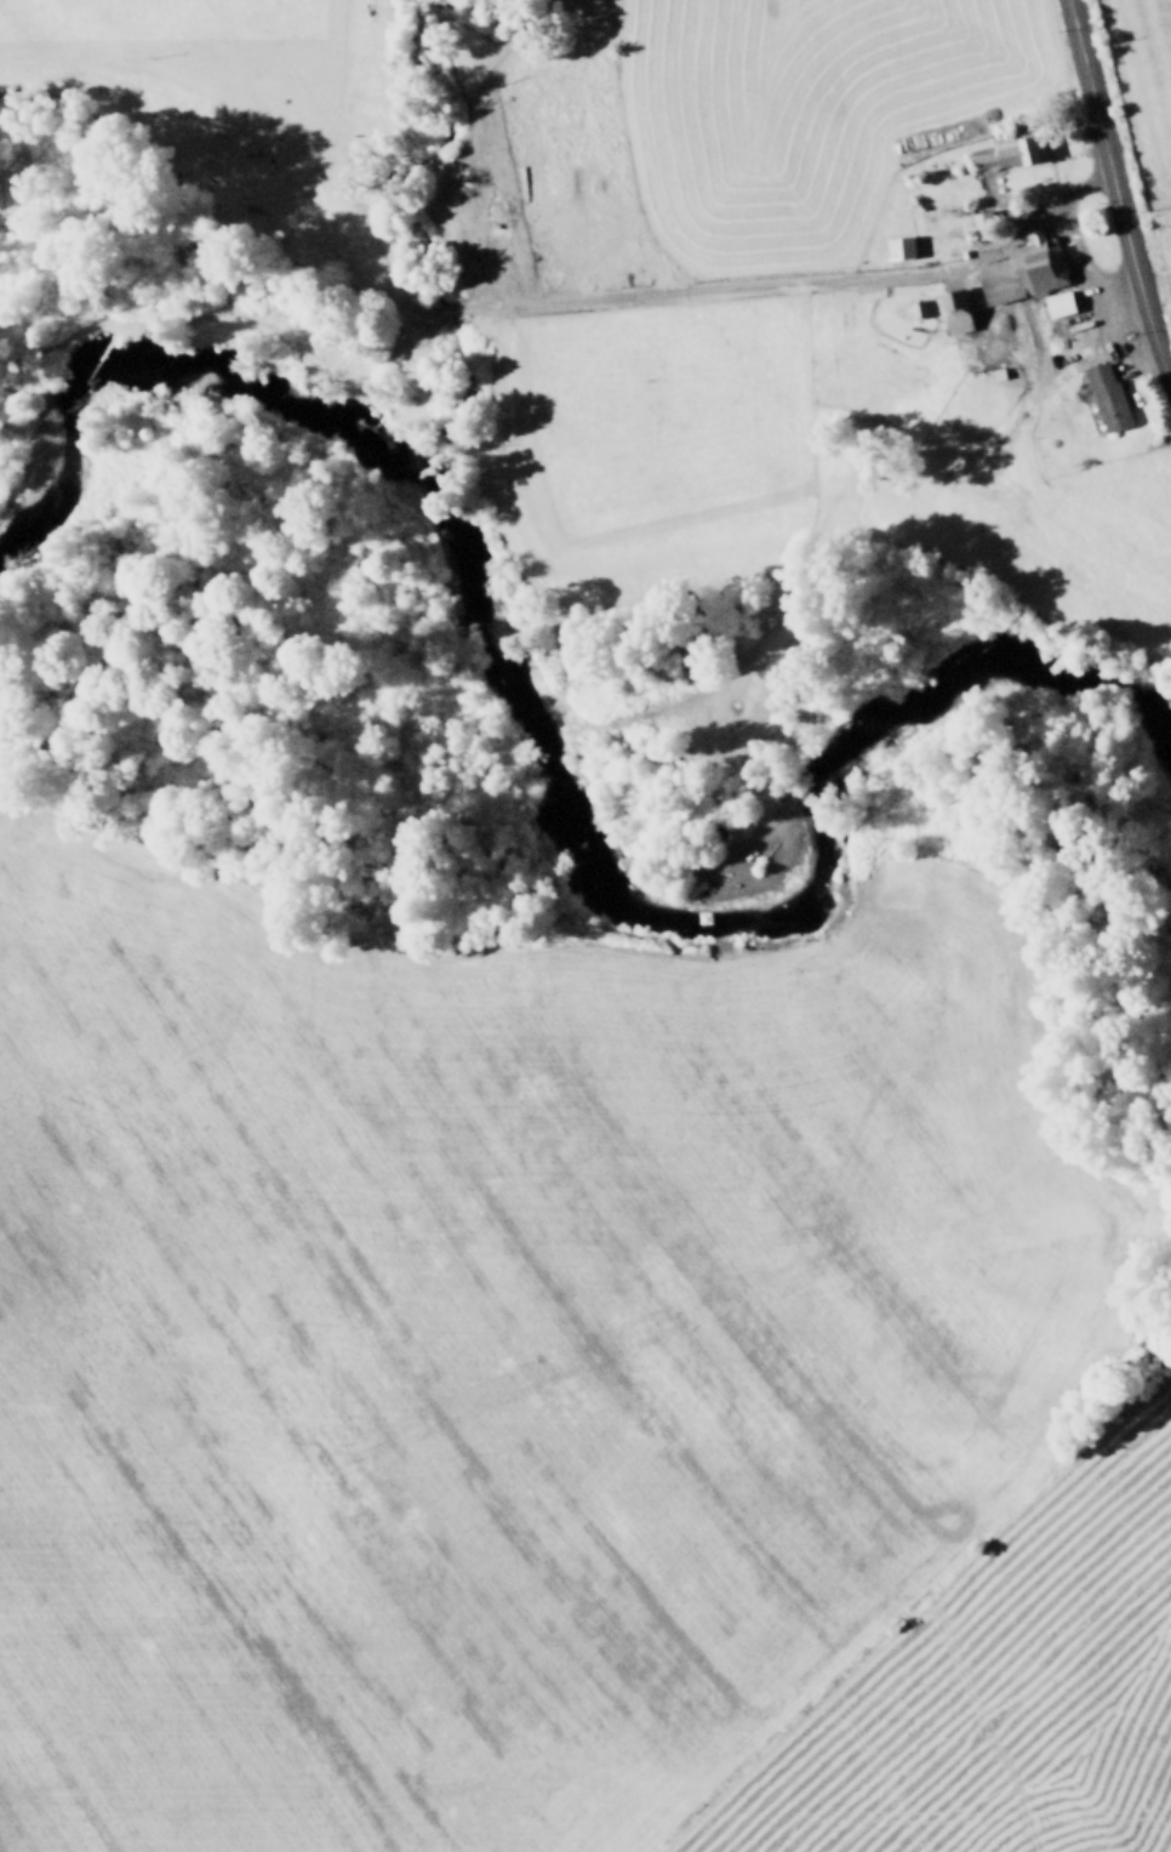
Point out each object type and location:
building: (1005, 154)
road: (1115, 194)
crop: (712, 223)
building: (895, 247)
building: (1018, 270)
building: (1055, 304)
building: (949, 312)
building: (1103, 397)
river: (535, 757)
crop: (552, 1397)

